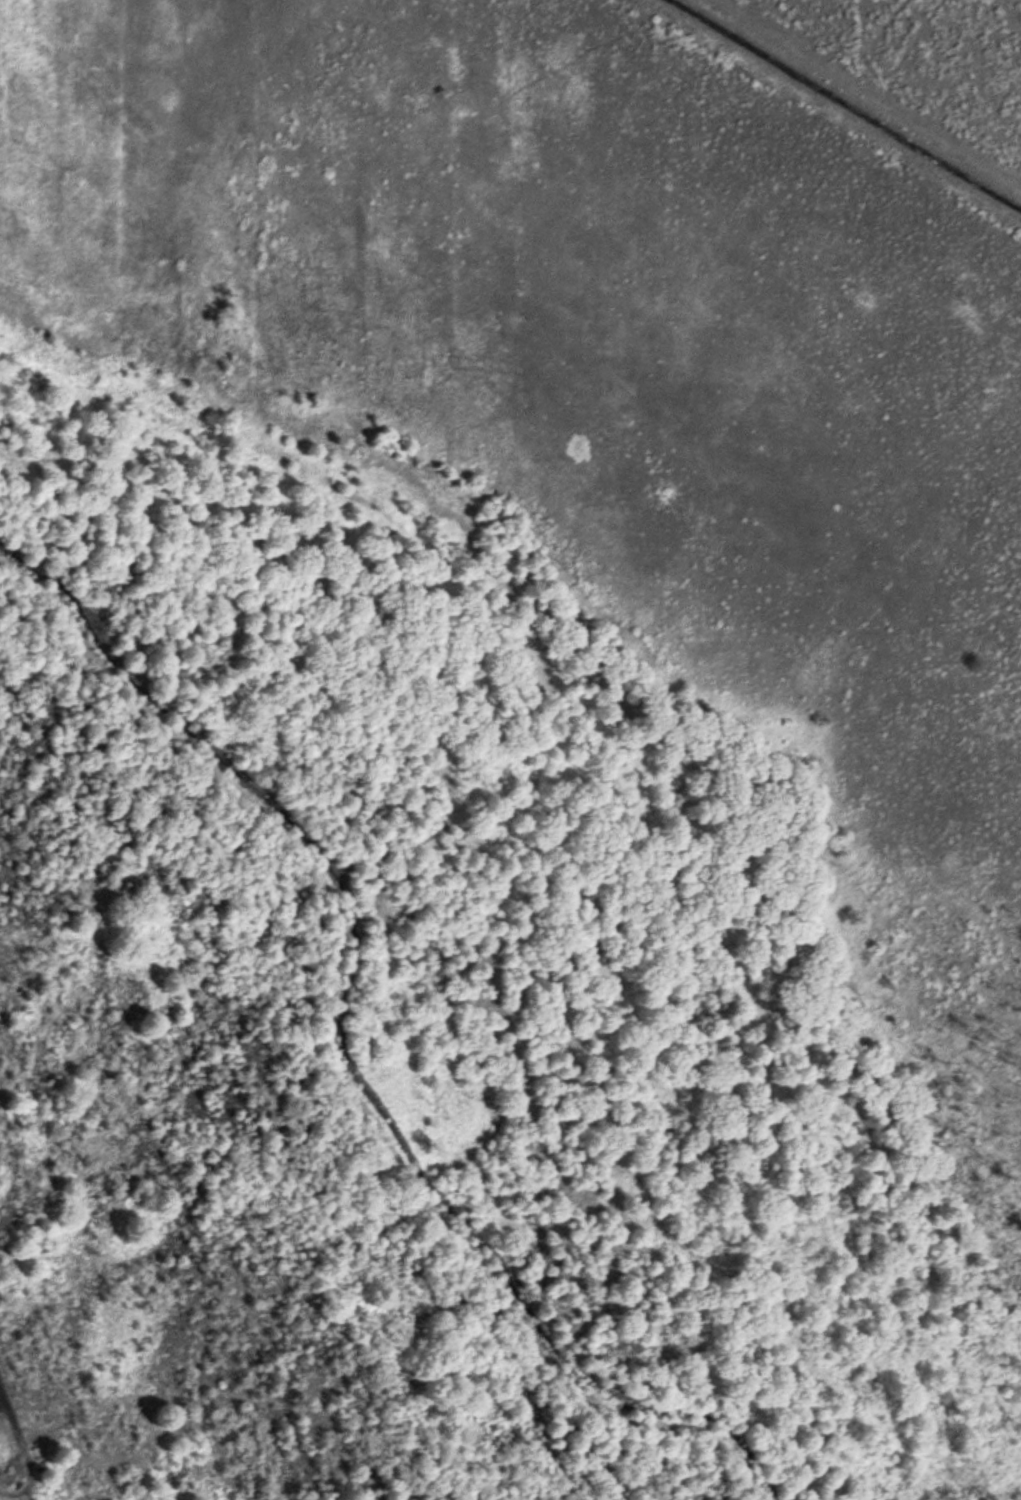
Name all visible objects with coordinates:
road: (353, 1035)

